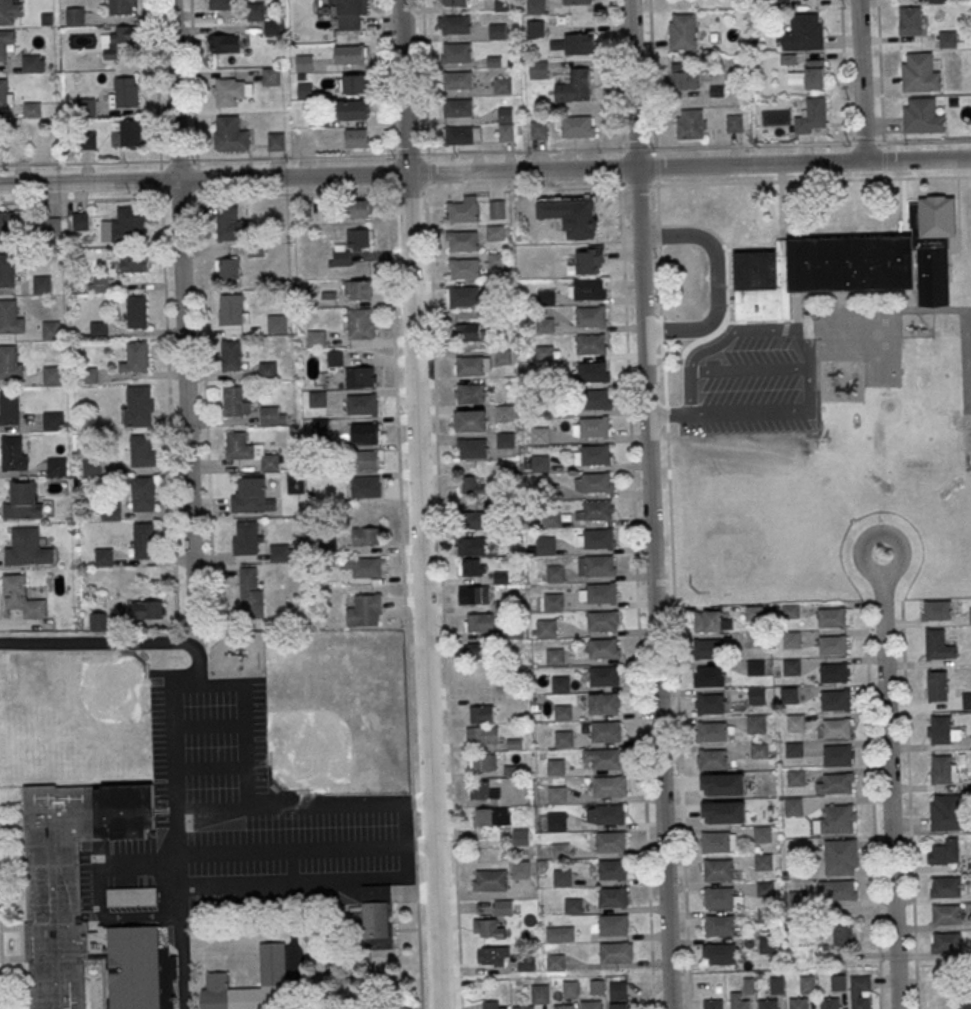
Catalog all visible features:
building: (576, 1)
building: (455, 2)
building: (220, 4)
building: (119, 6)
building: (535, 6)
building: (6, 9)
building: (256, 10)
building: (350, 13)
building: (75, 14)
building: (910, 20)
building: (456, 24)
building: (535, 28)
building: (498, 30)
building: (682, 31)
building: (803, 32)
building: (948, 39)
building: (119, 40)
building: (5, 41)
building: (224, 42)
building: (575, 43)
building: (456, 51)
building: (350, 53)
building: (31, 63)
building: (304, 63)
building: (538, 69)
road: (880, 70)
building: (919, 73)
road: (616, 74)
building: (271, 75)
building: (684, 75)
building: (808, 75)
road: (384, 77)
road: (424, 77)
building: (457, 79)
road: (859, 81)
building: (354, 82)
building: (503, 85)
building: (574, 86)
road: (844, 89)
building: (230, 90)
building: (124, 91)
road: (652, 92)
building: (3, 93)
building: (85, 106)
building: (458, 107)
building: (31, 109)
building: (356, 109)
building: (811, 115)
building: (922, 116)
road: (634, 121)
building: (734, 123)
building: (690, 124)
building: (577, 126)
building: (538, 129)
building: (506, 131)
building: (128, 133)
building: (230, 134)
building: (460, 134)
building: (357, 137)
building: (11, 139)
building: (275, 140)
road: (699, 146)
road: (346, 156)
road: (883, 159)
road: (485, 171)
road: (814, 179)
road: (621, 203)
building: (361, 208)
building: (498, 209)
building: (462, 211)
building: (81, 220)
building: (229, 223)
building: (129, 224)
building: (51, 225)
building: (7, 227)
building: (464, 240)
building: (353, 245)
road: (715, 251)
building: (131, 260)
building: (498, 260)
building: (587, 260)
building: (850, 263)
building: (228, 268)
building: (464, 268)
building: (6, 270)
building: (42, 284)
building: (98, 284)
building: (588, 287)
building: (360, 289)
building: (465, 295)
building: (546, 297)
building: (229, 310)
building: (136, 311)
road: (184, 313)
building: (7, 315)
building: (590, 316)
building: (276, 323)
building: (360, 323)
building: (544, 325)
building: (51, 329)
building: (98, 330)
road: (665, 330)
building: (466, 331)
building: (316, 338)
parking lot: (736, 338)
building: (590, 343)
building: (231, 355)
building: (137, 356)
building: (335, 358)
building: (8, 361)
building: (469, 365)
building: (268, 369)
building: (592, 371)
road: (801, 372)
building: (51, 375)
building: (88, 375)
building: (360, 376)
building: (470, 393)
building: (318, 398)
building: (594, 399)
building: (233, 401)
building: (362, 403)
building: (9, 406)
building: (138, 406)
building: (504, 412)
building: (273, 415)
building: (472, 419)
building: (53, 421)
building: (593, 426)
building: (319, 427)
building: (364, 432)
building: (540, 434)
building: (505, 439)
building: (238, 445)
building: (473, 448)
building: (141, 450)
building: (11, 452)
building: (595, 454)
building: (365, 459)
building: (536, 463)
building: (56, 466)
building: (92, 466)
building: (596, 482)
building: (365, 486)
building: (144, 493)
building: (250, 496)
building: (24, 502)
road: (418, 504)
building: (597, 509)
building: (111, 511)
building: (474, 519)
building: (366, 535)
building: (247, 536)
building: (599, 538)
building: (144, 540)
building: (471, 545)
building: (546, 545)
building: (27, 547)
building: (279, 551)
building: (104, 557)
building: (595, 564)
building: (473, 566)
building: (364, 567)
building: (554, 573)
road: (404, 581)
building: (251, 591)
building: (601, 592)
building: (474, 594)
road: (672, 596)
building: (22, 597)
road: (443, 599)
building: (553, 601)
building: (147, 609)
building: (936, 609)
building: (365, 610)
building: (970, 615)
building: (831, 617)
building: (602, 620)
building: (704, 620)
building: (98, 621)
building: (480, 622)
road: (654, 625)
building: (546, 628)
building: (509, 630)
road: (638, 634)
building: (791, 639)
building: (832, 644)
building: (938, 644)
building: (603, 648)
building: (705, 648)
building: (476, 650)
building: (554, 655)
road: (197, 666)
building: (755, 666)
building: (791, 666)
building: (834, 672)
building: (604, 675)
building: (709, 676)
building: (560, 683)
building: (937, 685)
building: (756, 694)
building: (788, 694)
building: (835, 699)
building: (966, 700)
building: (710, 702)
building: (604, 703)
building: (562, 711)
building: (481, 713)
building: (795, 722)
building: (756, 723)
building: (836, 727)
building: (939, 729)
building: (605, 730)
building: (710, 731)
building: (483, 735)
building: (563, 738)
building: (793, 749)
building: (759, 750)
building: (838, 754)
building: (607, 758)
building: (712, 759)
building: (482, 763)
building: (555, 766)
building: (941, 768)
building: (796, 777)
road: (889, 780)
building: (836, 783)
building: (722, 784)
building: (608, 786)
building: (483, 790)
building: (556, 793)
road: (393, 802)
road: (417, 802)
road: (873, 804)
road: (909, 804)
building: (793, 805)
road: (212, 808)
building: (947, 811)
building: (723, 812)
building: (609, 813)
building: (490, 816)
building: (840, 818)
parking lot: (236, 821)
building: (556, 821)
building: (762, 834)
building: (520, 836)
building: (610, 841)
building: (718, 841)
road: (305, 850)
building: (559, 850)
building: (944, 852)
building: (840, 856)
building: (764, 861)
building: (520, 869)
building: (612, 869)
building: (718, 869)
building: (561, 877)
building: (53, 880)
building: (490, 880)
building: (945, 886)
building: (765, 888)
building: (839, 888)
building: (612, 896)
building: (721, 897)
road: (180, 898)
building: (797, 898)
building: (572, 905)
building: (503, 906)
building: (946, 914)
building: (377, 916)
building: (613, 924)
building: (719, 924)
building: (488, 929)
building: (559, 933)
building: (843, 935)
building: (946, 941)
building: (767, 944)
building: (614, 952)
building: (718, 953)
building: (493, 955)
building: (555, 962)
road: (1, 967)
building: (273, 980)
building: (838, 982)
building: (776, 984)
building: (807, 984)
building: (597, 986)
building: (570, 989)
building: (617, 990)
building: (931, 990)
building: (859, 991)
building: (540, 993)
building: (738, 1001)
building: (963, 1001)
building: (829, 1002)
building: (713, 1003)
building: (768, 1003)
building: (799, 1003)
building: (590, 1004)
building: (492, 1005)
building: (619, 1005)
building: (563, 1006)
building: (524, 1007)

